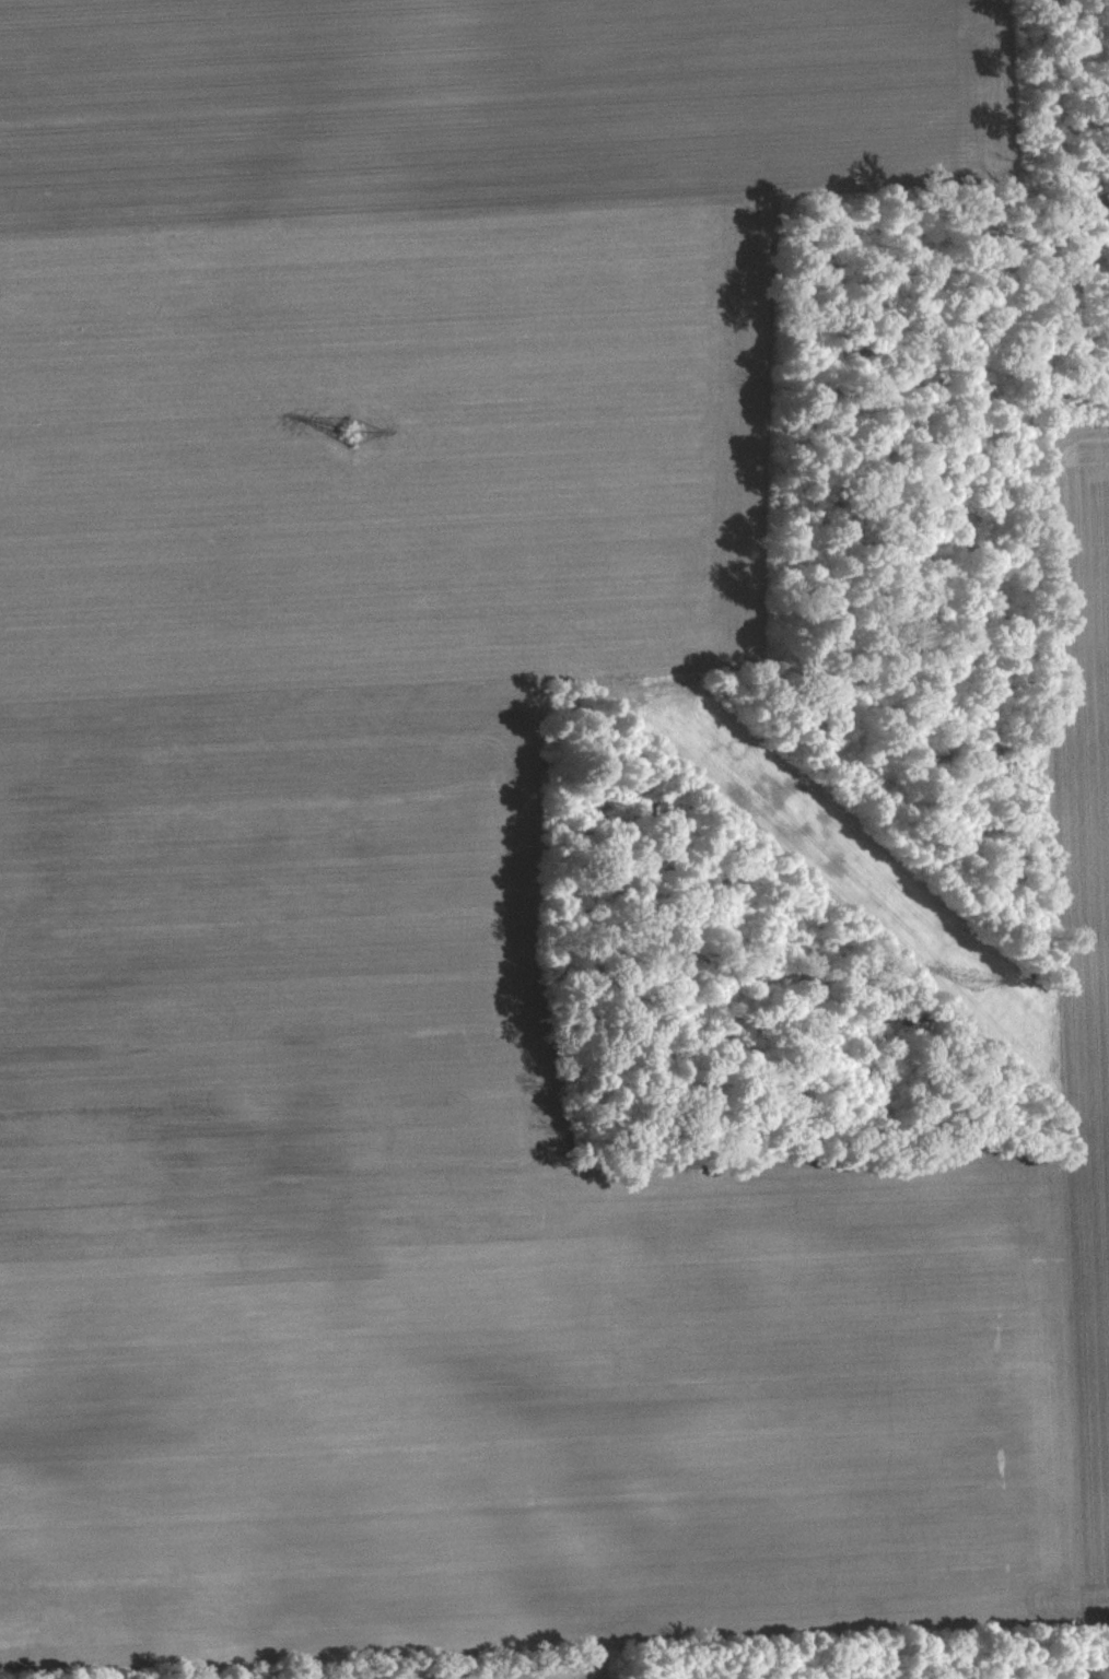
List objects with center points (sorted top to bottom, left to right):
power tower: (349, 432)
power tower: (974, 979)

